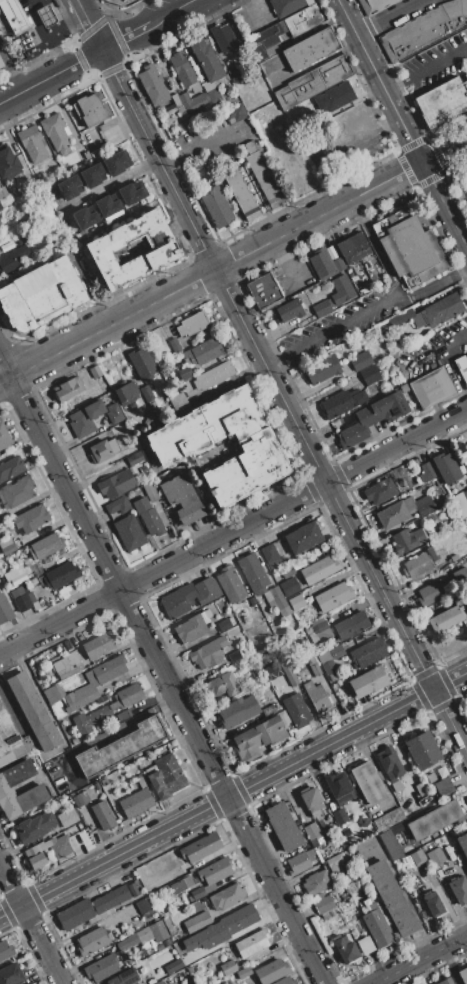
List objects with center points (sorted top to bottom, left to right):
building: (122, 2)
building: (287, 5)
building: (373, 5)
road: (176, 13)
building: (13, 15)
building: (45, 15)
parking lot: (254, 15)
road: (390, 16)
road: (91, 25)
building: (285, 28)
building: (423, 29)
parking lot: (35, 30)
building: (224, 37)
road: (127, 38)
building: (311, 48)
parking lot: (435, 62)
building: (270, 64)
building: (0, 66)
building: (207, 66)
road: (426, 69)
road: (66, 70)
building: (184, 71)
building: (235, 79)
building: (313, 81)
building: (152, 84)
road: (14, 97)
building: (332, 97)
building: (443, 101)
building: (184, 104)
building: (90, 109)
building: (234, 113)
building: (363, 121)
road: (402, 123)
building: (56, 132)
parking lot: (212, 137)
building: (32, 143)
parking lot: (339, 148)
road: (444, 152)
building: (114, 163)
building: (8, 164)
building: (262, 174)
building: (92, 175)
parking lot: (460, 183)
building: (69, 187)
building: (236, 188)
building: (2, 191)
building: (132, 192)
building: (107, 205)
building: (215, 207)
building: (0, 208)
building: (84, 217)
road: (375, 246)
building: (353, 247)
building: (409, 247)
building: (163, 250)
building: (13, 261)
building: (324, 264)
road: (210, 271)
road: (430, 287)
building: (263, 289)
building: (364, 289)
building: (341, 290)
building: (40, 295)
building: (321, 308)
building: (288, 309)
building: (432, 312)
building: (192, 323)
parking lot: (329, 329)
road: (330, 329)
building: (168, 331)
building: (175, 345)
building: (202, 350)
parking lot: (433, 351)
building: (361, 359)
road: (446, 360)
building: (142, 363)
building: (462, 366)
building: (322, 369)
building: (95, 371)
building: (184, 372)
building: (213, 375)
building: (369, 375)
building: (432, 387)
building: (69, 389)
building: (127, 393)
building: (179, 401)
road: (283, 401)
building: (342, 403)
building: (155, 405)
building: (114, 414)
building: (373, 416)
building: (86, 418)
building: (4, 435)
building: (178, 447)
fountain: (223, 449)
building: (103, 450)
building: (134, 458)
building: (414, 462)
building: (466, 466)
building: (446, 467)
building: (11, 468)
building: (427, 472)
building: (116, 484)
building: (383, 490)
building: (16, 491)
building: (151, 492)
building: (465, 492)
building: (182, 499)
building: (442, 501)
building: (460, 503)
building: (117, 505)
building: (161, 510)
building: (403, 511)
building: (148, 517)
building: (31, 518)
road: (233, 530)
building: (128, 533)
building: (303, 537)
building: (407, 540)
building: (7, 546)
building: (46, 546)
building: (431, 554)
building: (270, 556)
building: (455, 557)
building: (416, 565)
building: (318, 570)
building: (288, 572)
building: (253, 574)
building: (60, 575)
building: (14, 576)
building: (230, 584)
building: (72, 587)
building: (289, 587)
building: (442, 587)
building: (65, 595)
building: (333, 596)
building: (31, 597)
building: (189, 597)
building: (20, 599)
building: (268, 599)
building: (279, 601)
building: (297, 602)
building: (5, 609)
building: (223, 613)
building: (446, 618)
building: (223, 625)
building: (351, 625)
building: (192, 626)
building: (320, 627)
building: (308, 631)
building: (98, 645)
building: (209, 652)
building: (336, 652)
building: (368, 652)
building: (234, 655)
building: (67, 665)
building: (314, 665)
building: (272, 670)
road: (162, 672)
building: (289, 673)
building: (258, 676)
building: (333, 676)
building: (95, 681)
building: (368, 681)
building: (223, 684)
building: (285, 693)
building: (51, 694)
building: (128, 695)
building: (317, 697)
building: (103, 698)
building: (271, 708)
building: (33, 710)
building: (237, 710)
building: (296, 711)
building: (340, 711)
building: (123, 716)
building: (283, 717)
building: (89, 719)
building: (7, 733)
building: (258, 738)
building: (75, 741)
building: (120, 747)
building: (22, 749)
building: (423, 750)
building: (389, 763)
building: (136, 769)
building: (442, 771)
building: (165, 775)
building: (430, 778)
building: (104, 781)
building: (142, 781)
building: (367, 783)
building: (396, 785)
building: (96, 786)
building: (339, 786)
building: (444, 787)
building: (420, 788)
building: (35, 791)
road: (232, 793)
building: (81, 798)
building: (310, 800)
building: (136, 802)
building: (103, 815)
building: (340, 816)
building: (67, 817)
building: (388, 818)
building: (434, 820)
building: (364, 822)
building: (283, 826)
building: (34, 827)
building: (311, 830)
building: (346, 832)
building: (84, 833)
building: (463, 843)
building: (391, 844)
building: (201, 847)
building: (52, 849)
building: (417, 857)
building: (436, 857)
building: (300, 861)
building: (407, 861)
building: (335, 863)
building: (466, 863)
building: (215, 870)
building: (422, 870)
building: (316, 881)
building: (181, 884)
building: (133, 888)
building: (210, 888)
building: (459, 889)
building: (196, 893)
building: (226, 896)
building: (318, 896)
building: (392, 898)
building: (324, 904)
building: (433, 904)
building: (91, 907)
building: (145, 908)
building: (328, 913)
building: (99, 916)
building: (239, 919)
building: (196, 921)
road: (31, 923)
building: (169, 924)
building: (376, 925)
building: (215, 927)
building: (158, 931)
building: (92, 941)
building: (127, 942)
building: (167, 942)
building: (252, 942)
building: (211, 944)
building: (365, 945)
building: (159, 946)
building: (5, 949)
building: (345, 949)
building: (145, 952)
building: (183, 953)
road: (422, 960)
building: (178, 963)
building: (101, 967)
building: (227, 967)
building: (189, 969)
building: (272, 970)
building: (244, 972)
building: (10, 974)
building: (462, 975)
building: (124, 977)
building: (287, 980)
building: (446, 981)
building: (31, 983)

